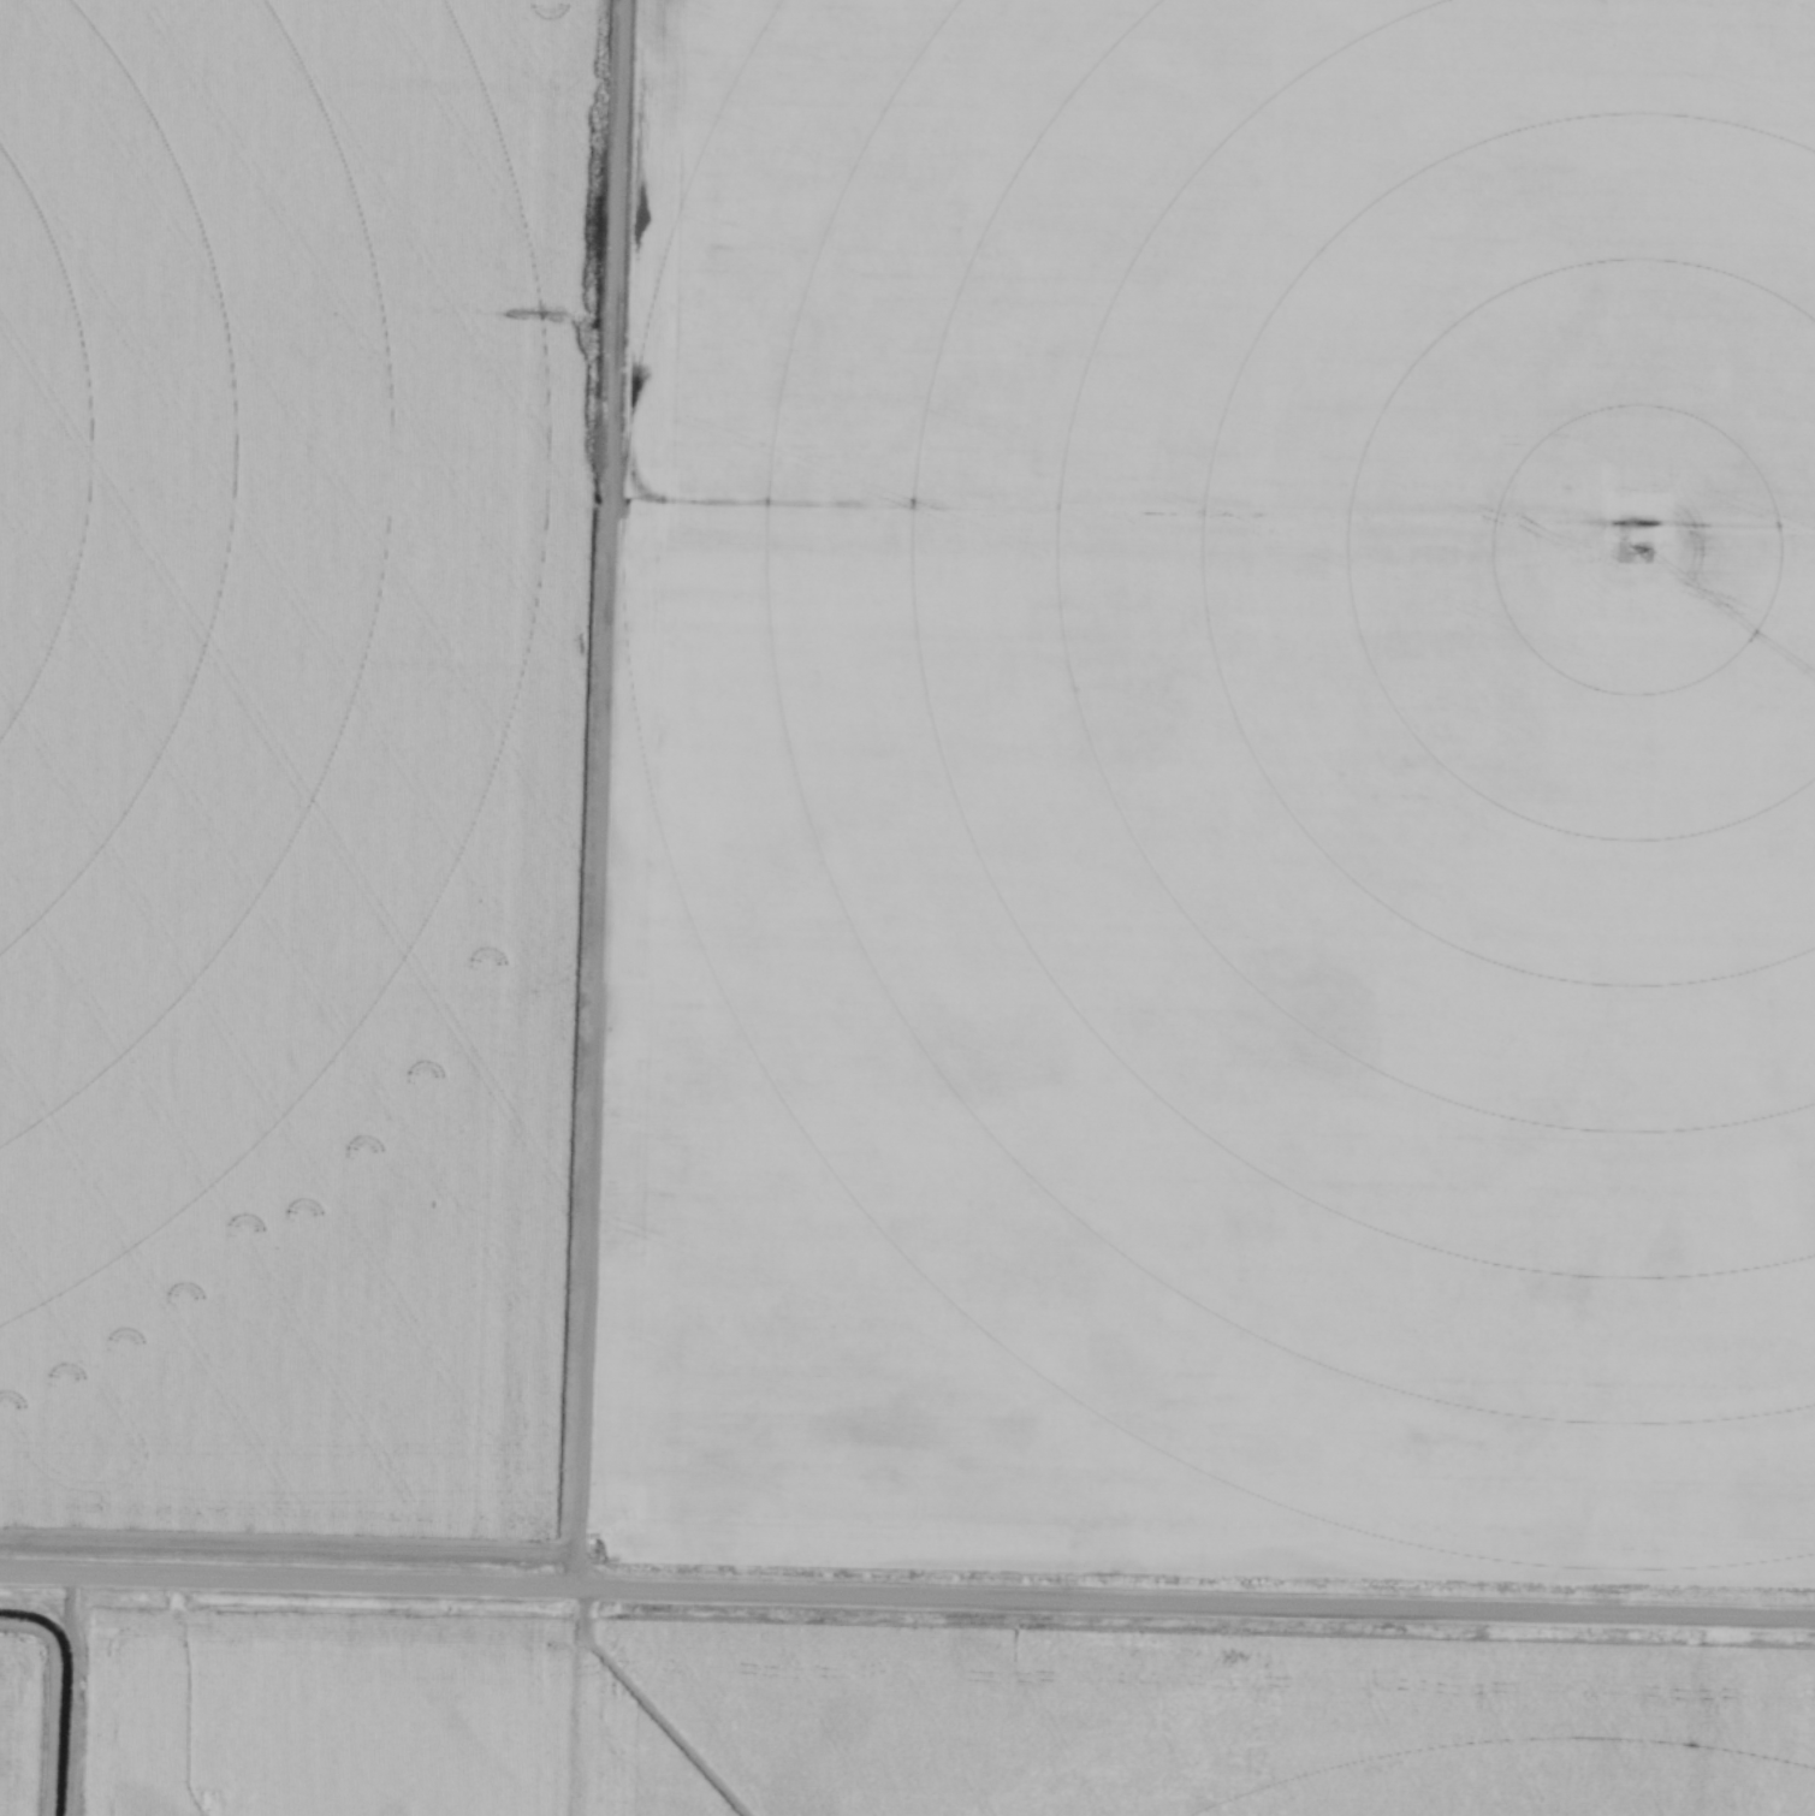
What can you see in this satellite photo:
road: (911, 1600)

